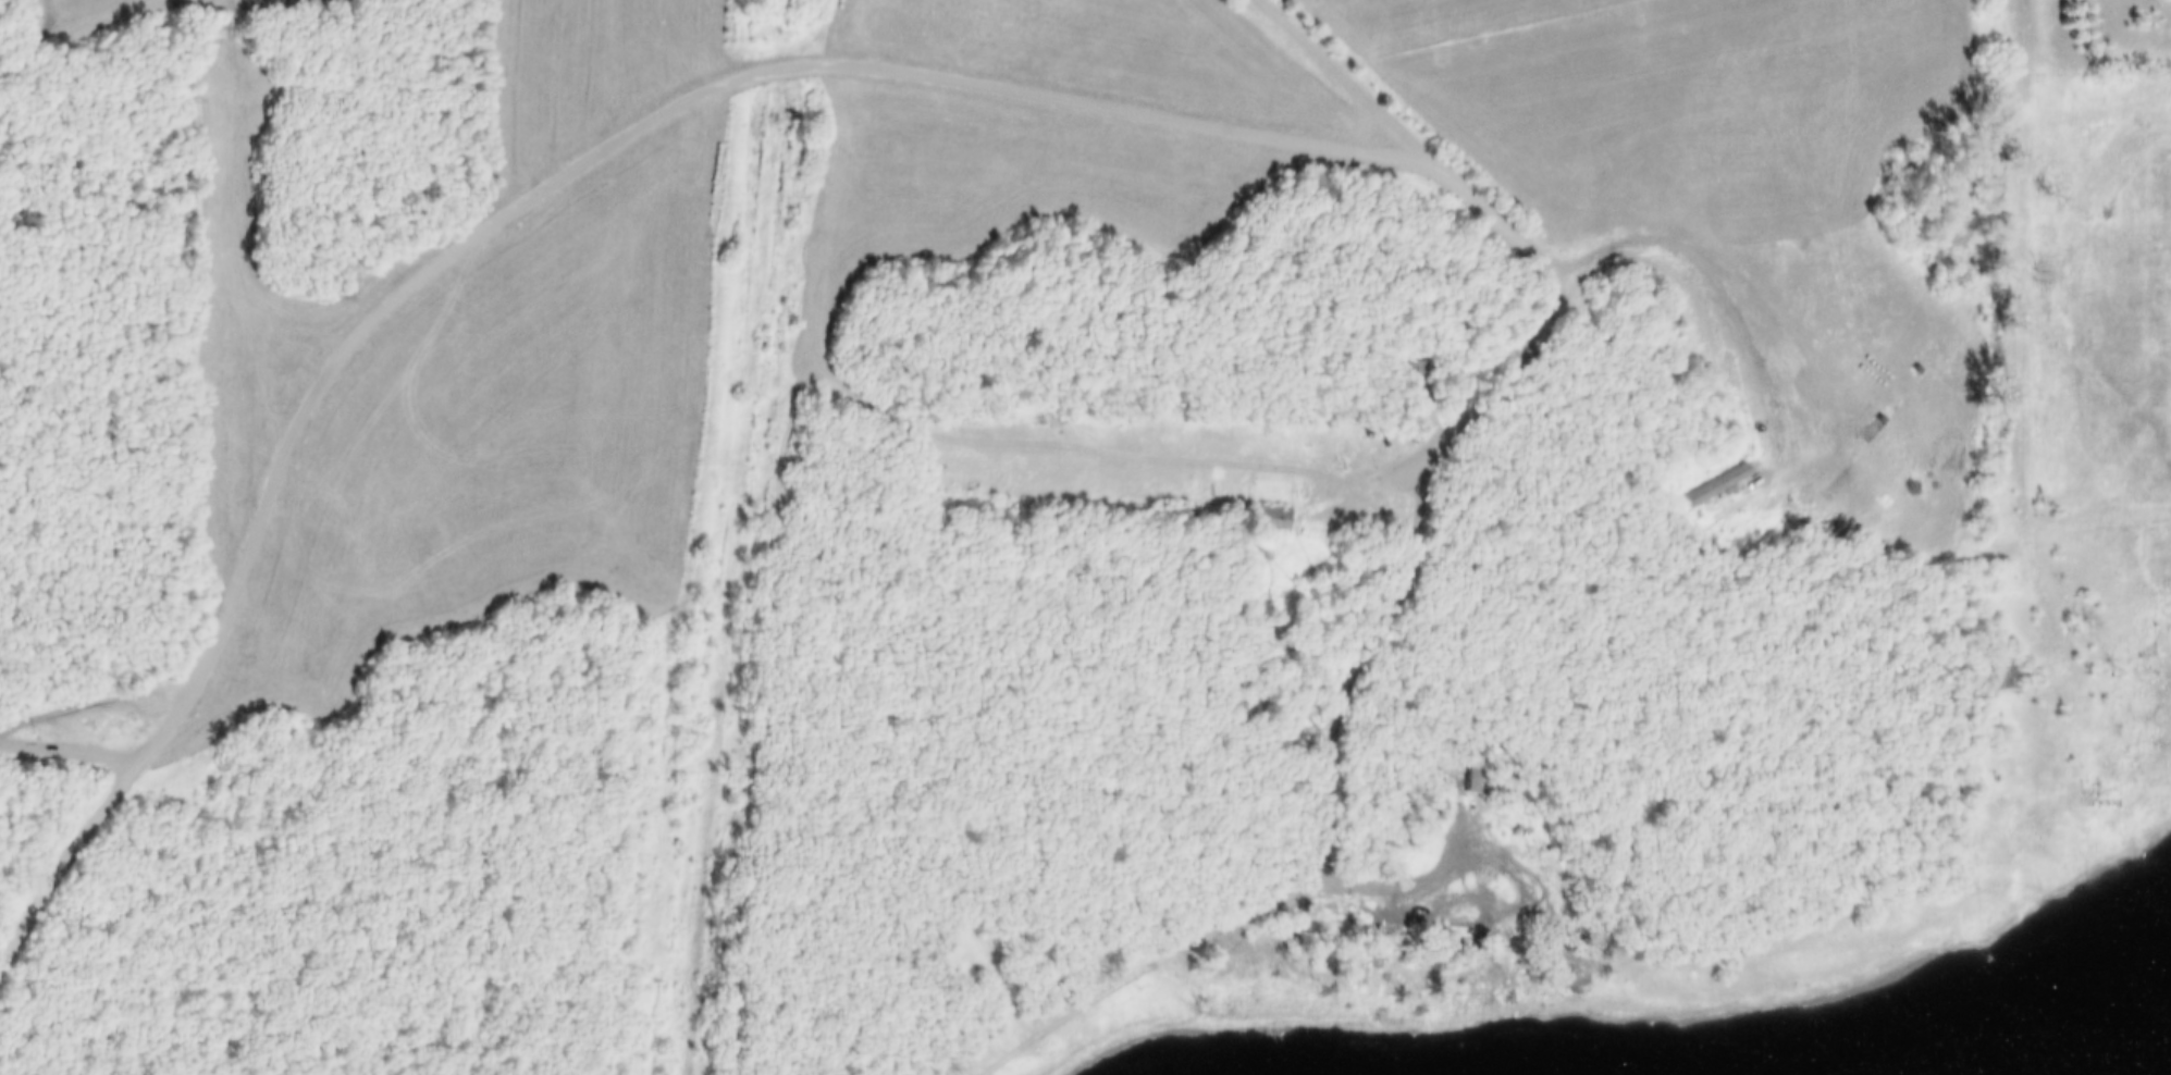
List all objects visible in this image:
road: (814, 39)
road: (696, 95)
building: (1417, 376)
road: (2024, 378)
building: (1432, 379)
building: (1261, 518)
building: (1991, 671)
building: (2021, 676)
road: (65, 751)
building: (2093, 812)
building: (2110, 815)
building: (1999, 870)
road: (1318, 879)
road: (1393, 890)

